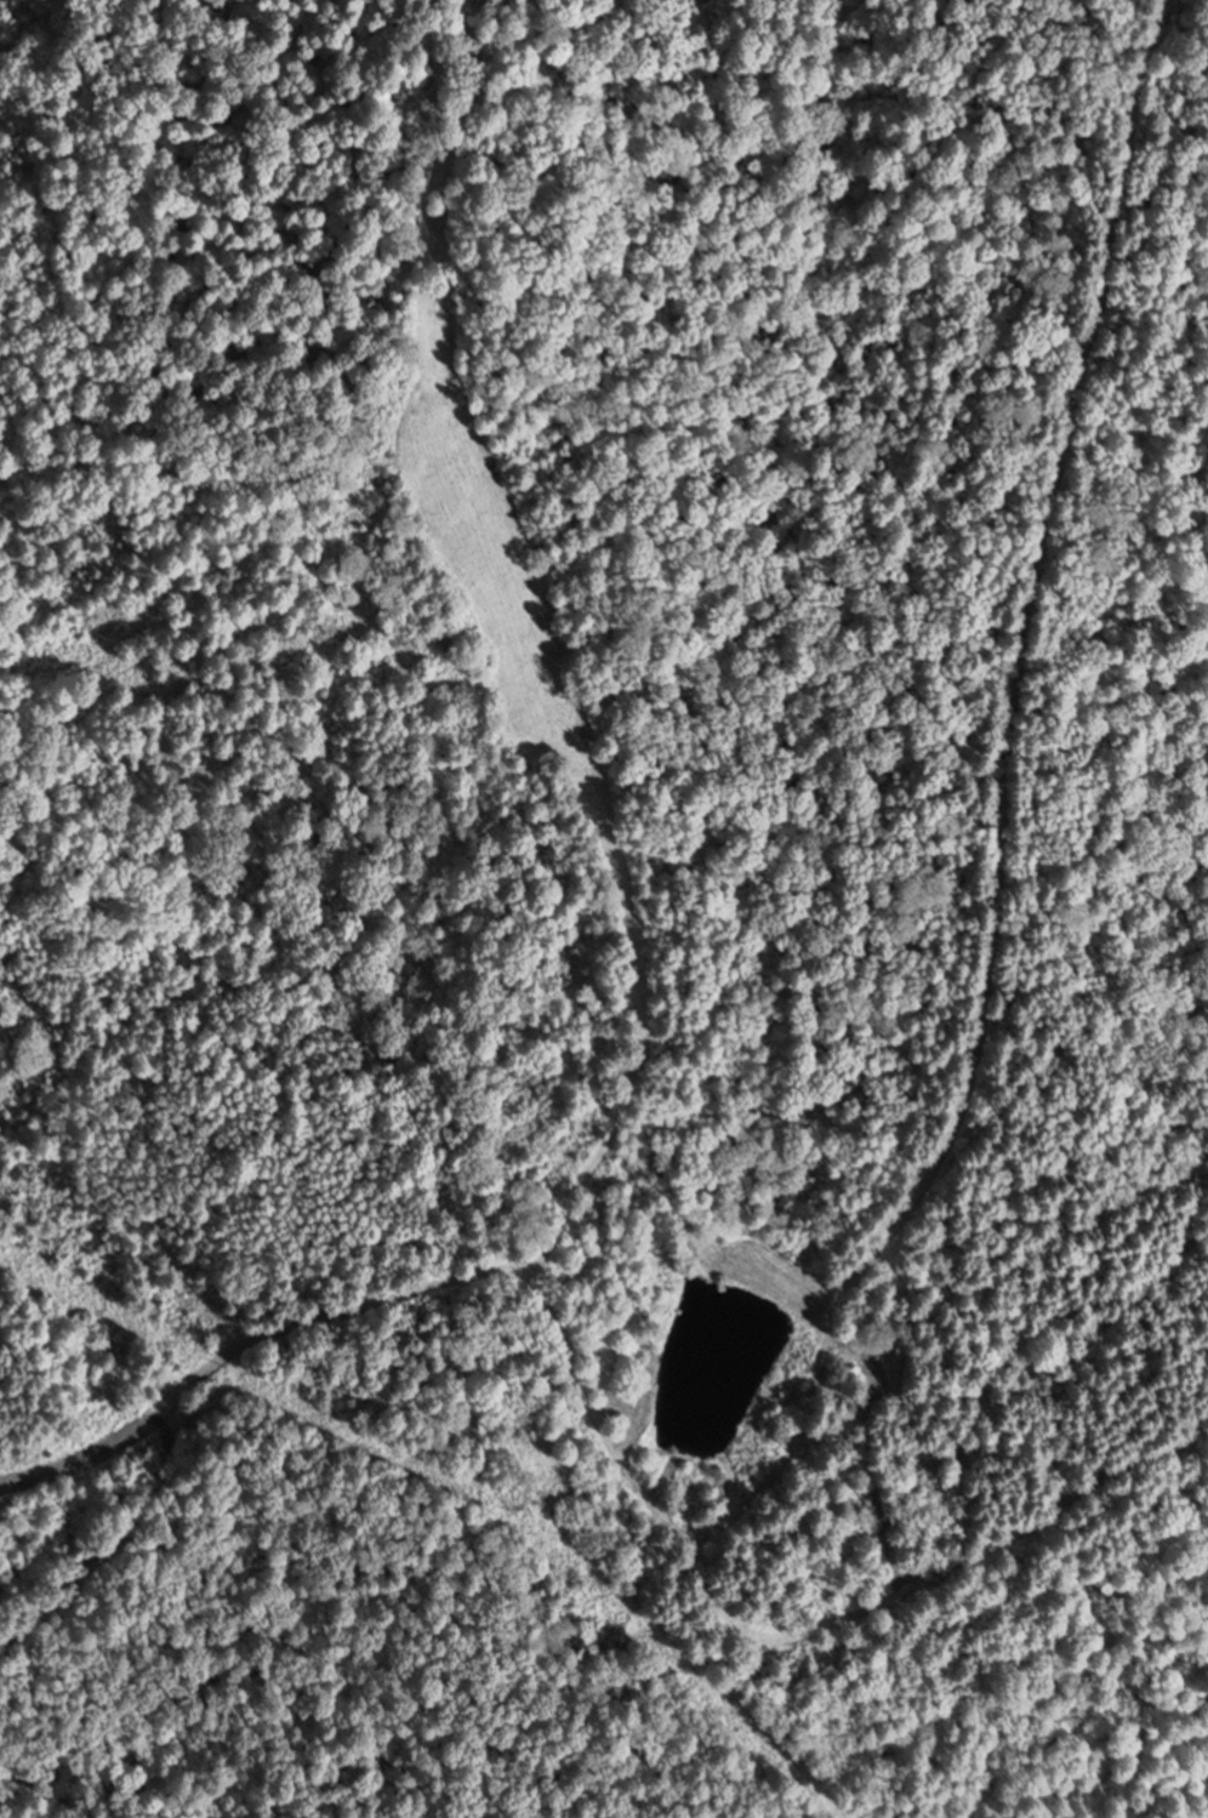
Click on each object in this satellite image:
road: (135, 1403)

